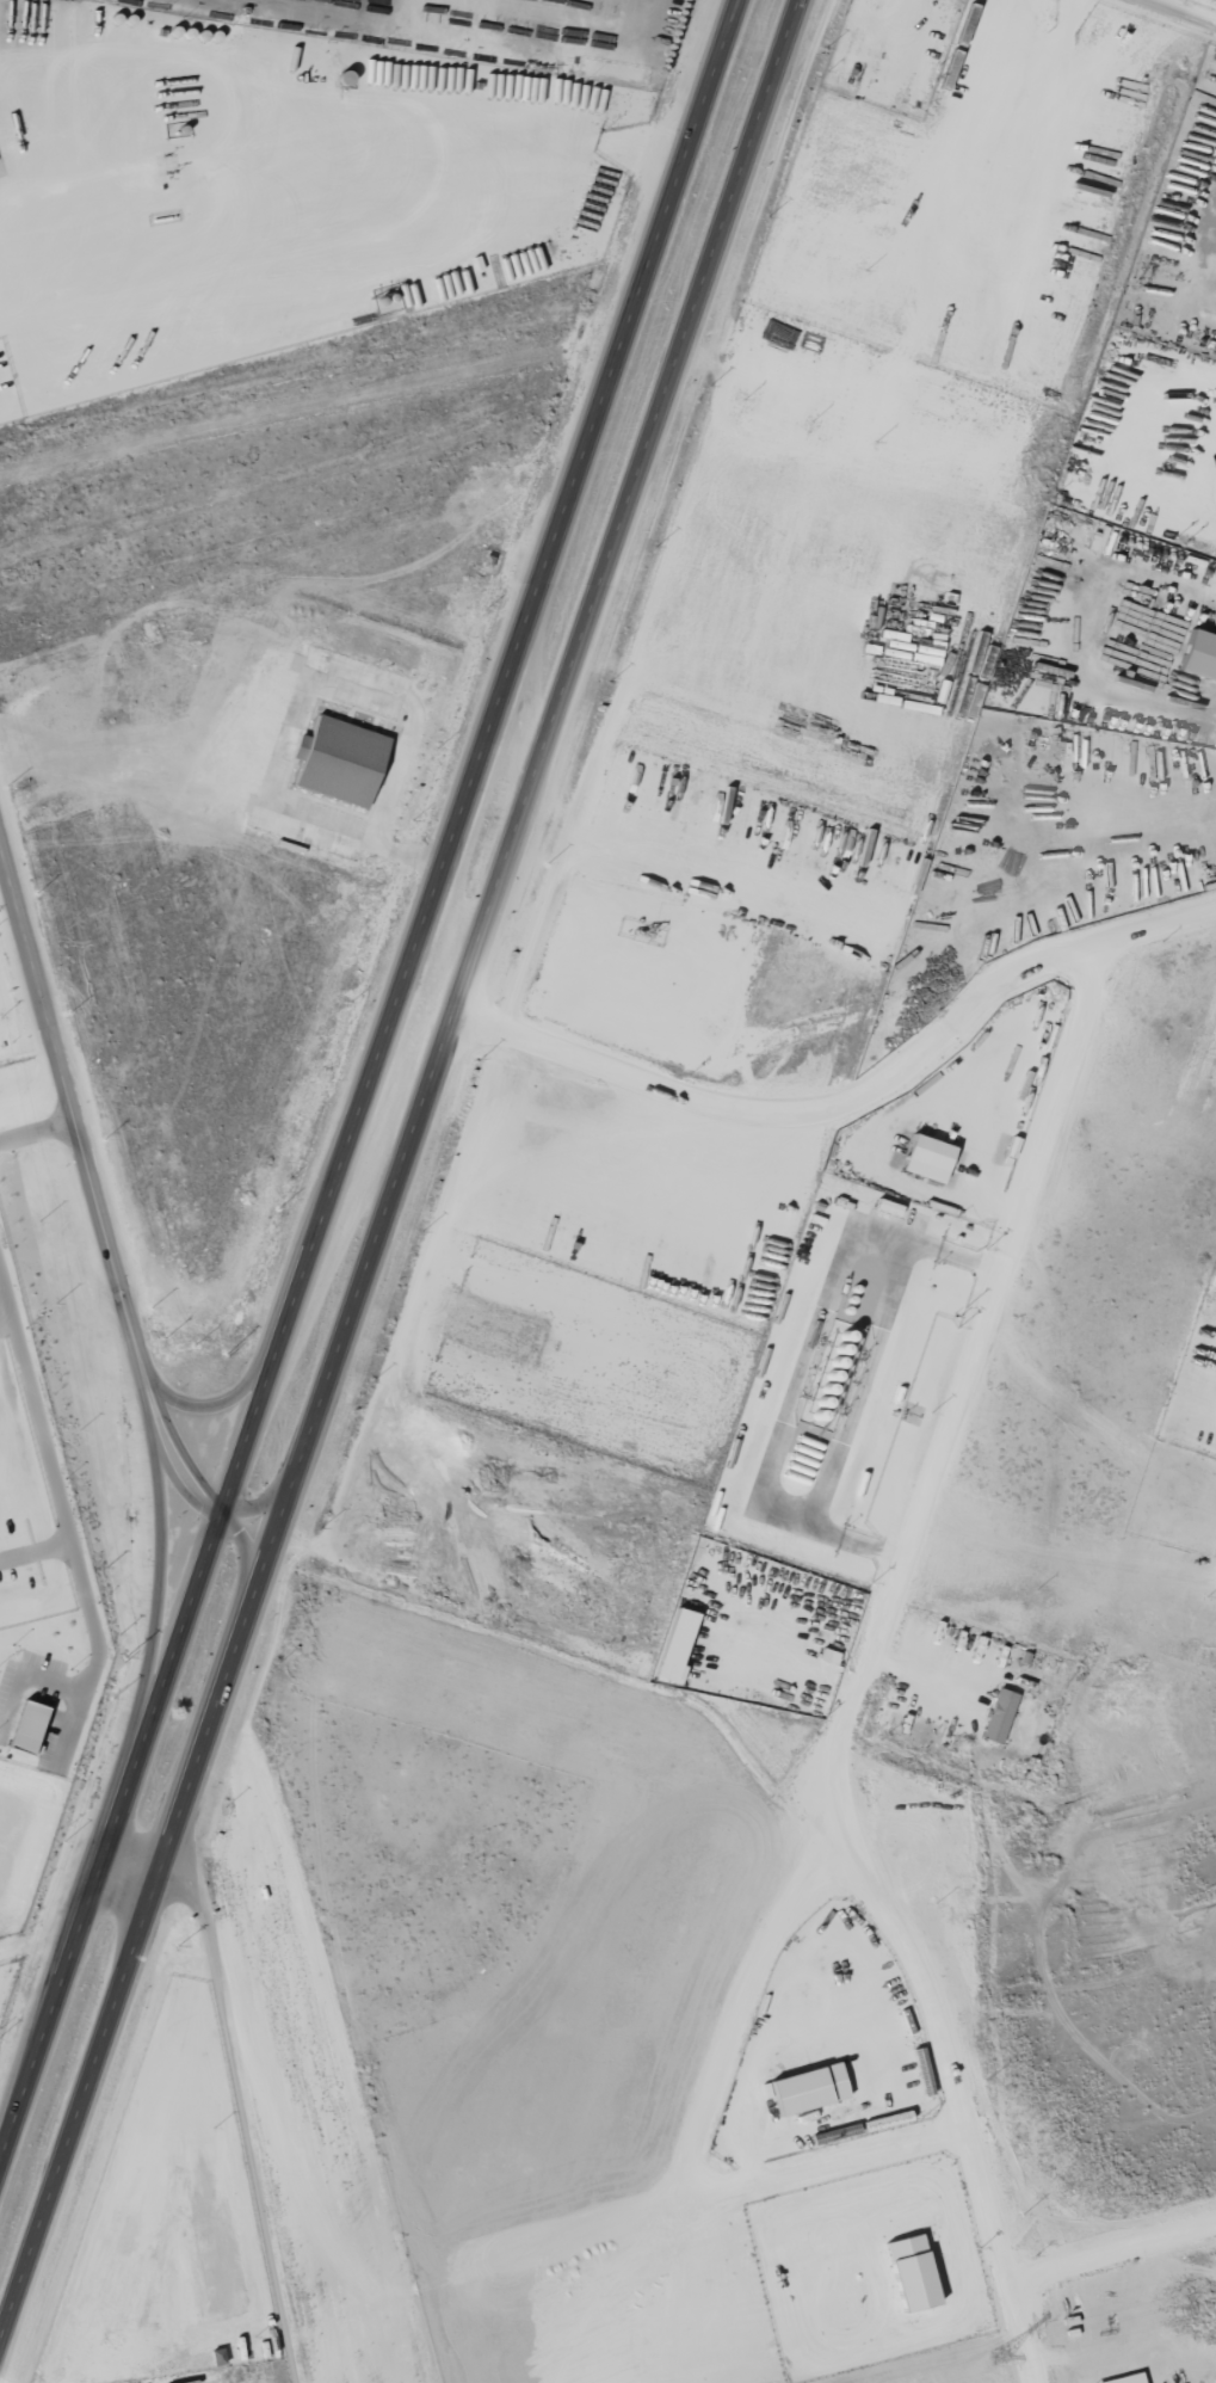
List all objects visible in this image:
road: (1190, 8)
road: (340, 204)
building: (1202, 657)
road: (481, 758)
building: (342, 761)
petroleum well: (647, 930)
road: (852, 1103)
road: (38, 1128)
building: (931, 1157)
road: (397, 1165)
road: (94, 1183)
road: (230, 1400)
road: (260, 1505)
road: (66, 1521)
road: (246, 1551)
road: (159, 1591)
building: (679, 1644)
building: (829, 1655)
building: (1001, 1714)
road: (844, 1723)
building: (30, 1726)
road: (111, 1843)
road: (132, 1860)
building: (811, 2088)
building: (915, 2272)
road: (1030, 2341)
power tower: (996, 2357)
building: (1129, 2378)

